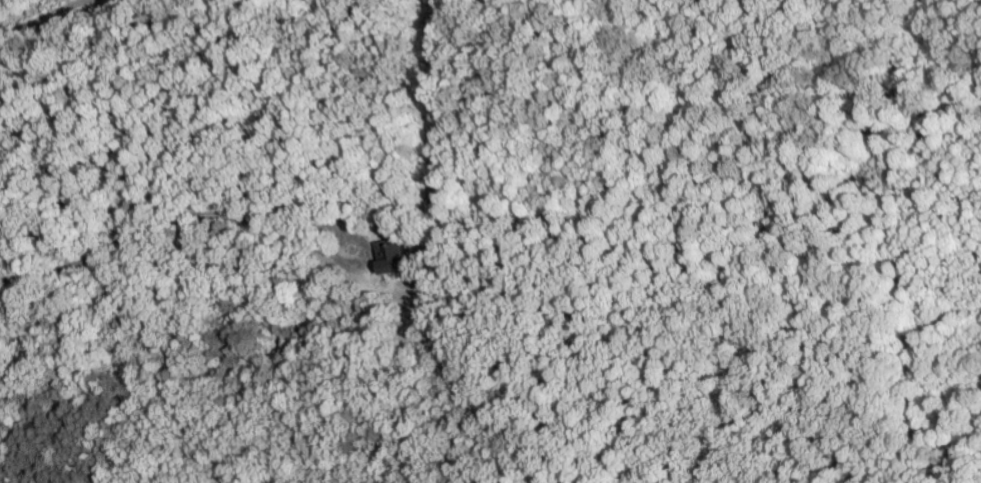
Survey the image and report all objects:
road: (50, 17)
road: (174, 222)
building: (392, 260)

